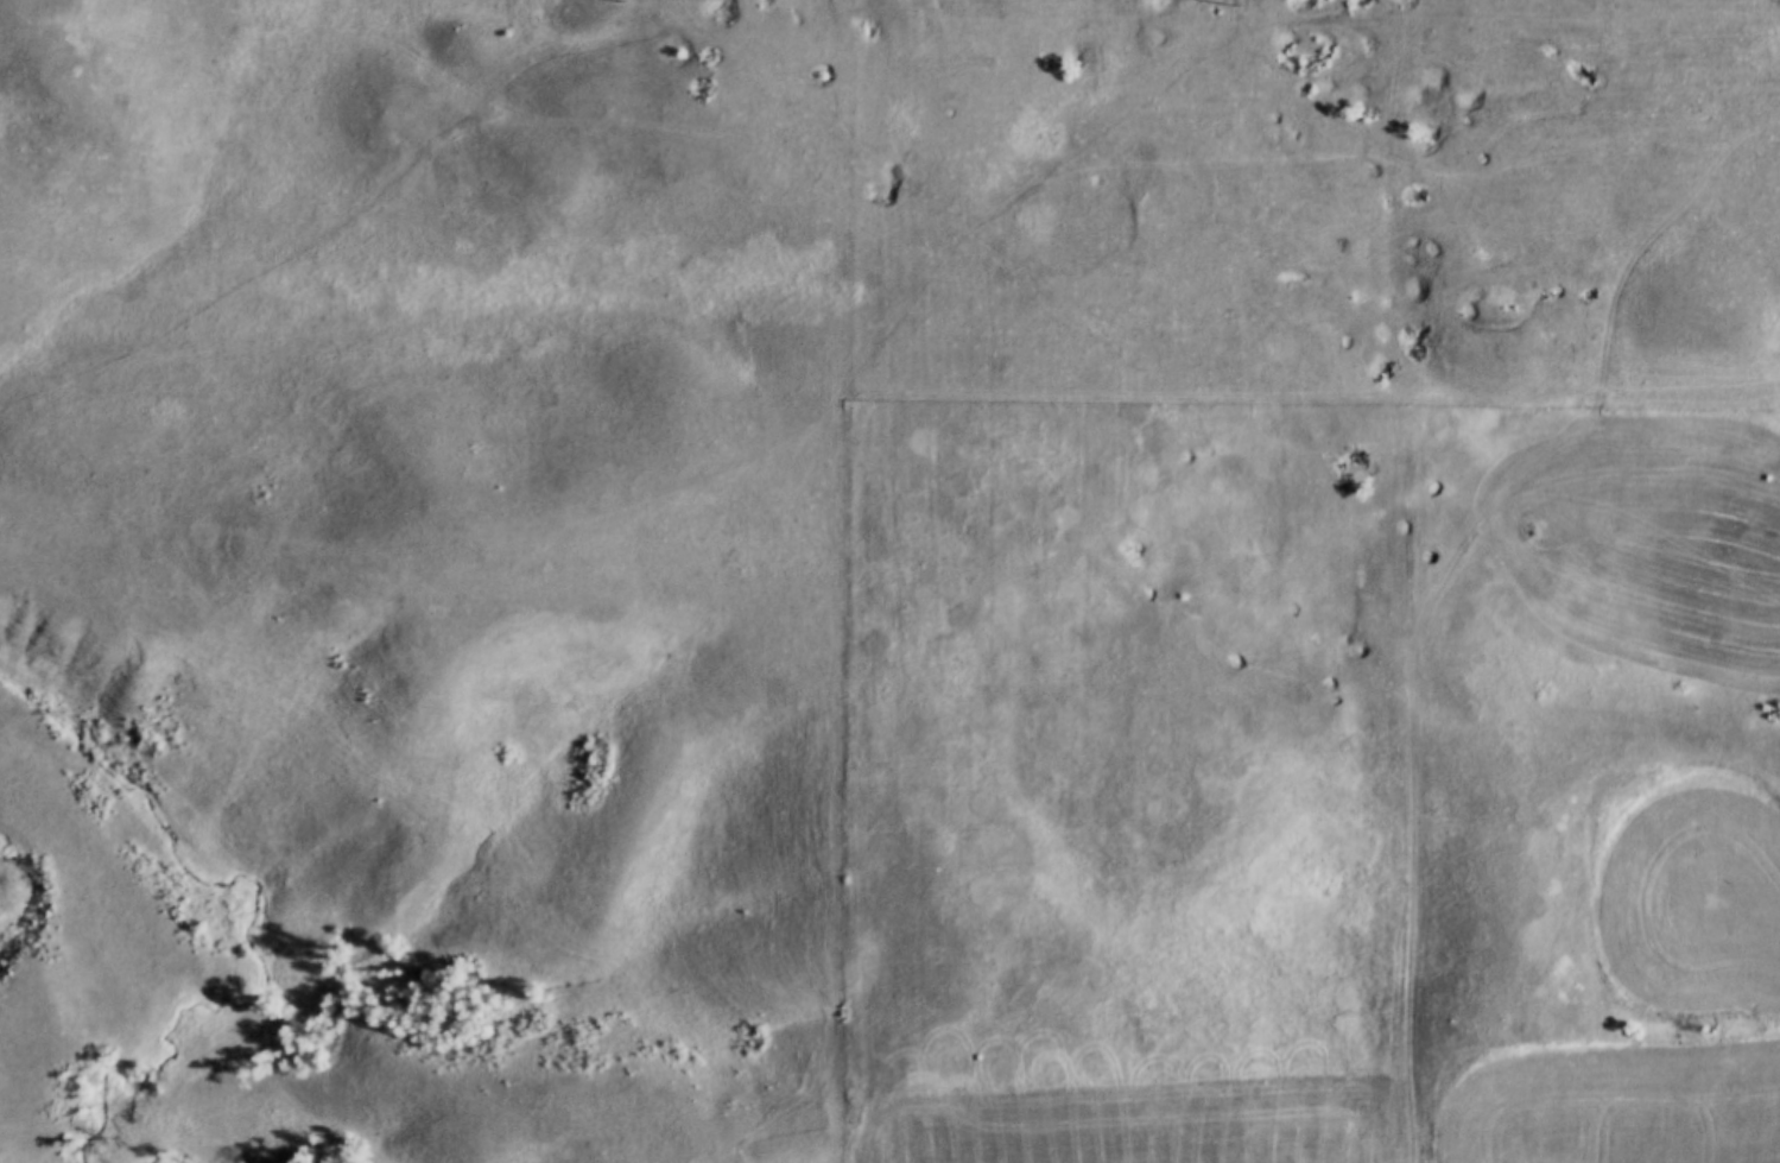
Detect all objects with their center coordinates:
road: (1406, 526)

